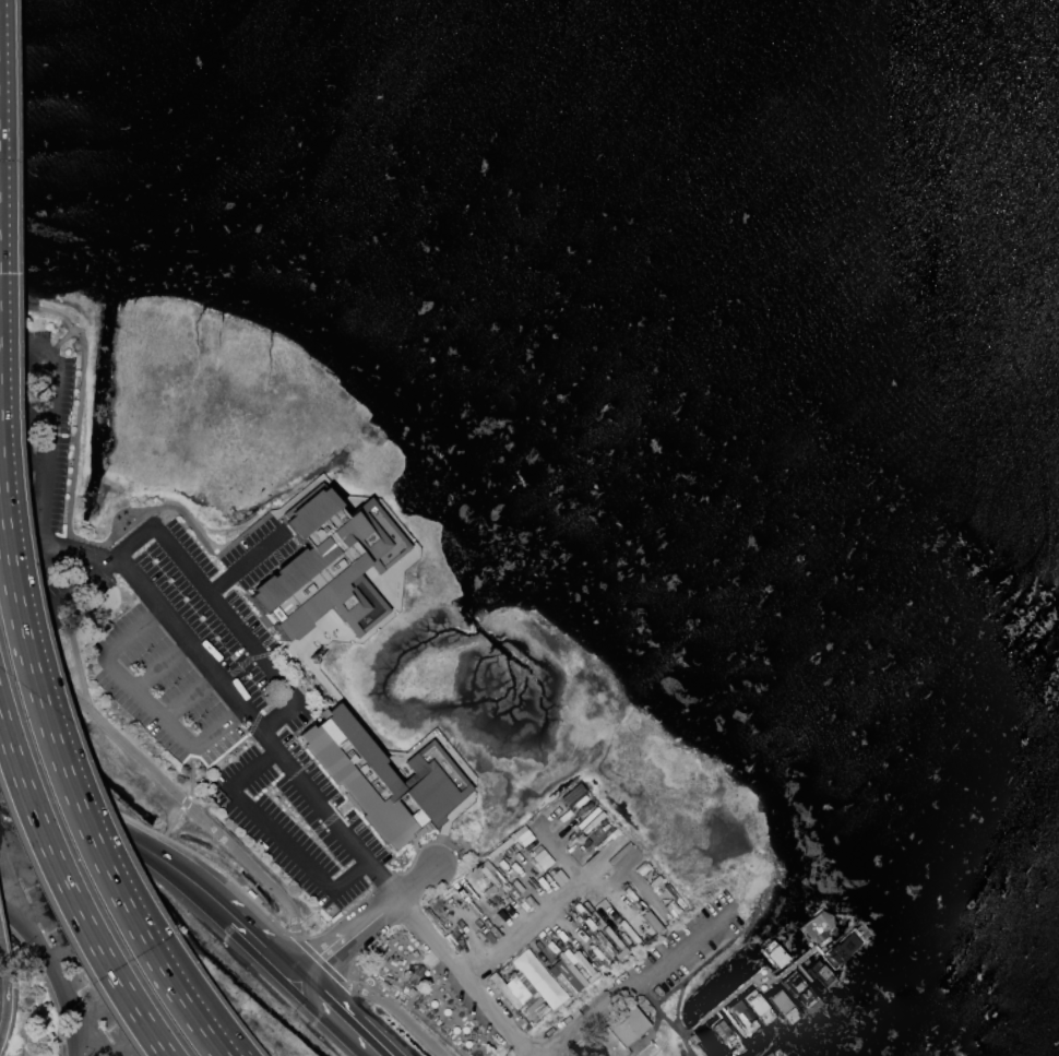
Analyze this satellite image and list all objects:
road: (38, 493)
road: (246, 563)
building: (330, 574)
road: (226, 614)
parking lot: (197, 661)
parking lot: (114, 665)
road: (160, 666)
road: (118, 675)
road: (187, 695)
road: (258, 726)
road: (216, 732)
road: (155, 774)
building: (386, 783)
road: (74, 798)
road: (186, 805)
road: (281, 834)
road: (162, 859)
road: (417, 881)
road: (69, 892)
road: (17, 919)
road: (347, 938)
road: (322, 963)
building: (417, 974)
road: (467, 976)
road: (175, 978)
building: (539, 978)
building: (566, 978)
road: (642, 982)
road: (5, 987)
building: (504, 992)
road: (61, 994)
pier: (771, 997)
building: (757, 1005)
road: (677, 1007)
road: (400, 1016)
building: (740, 1017)
road: (337, 1018)
road: (1, 1030)
road: (1, 1031)
building: (620, 1032)

